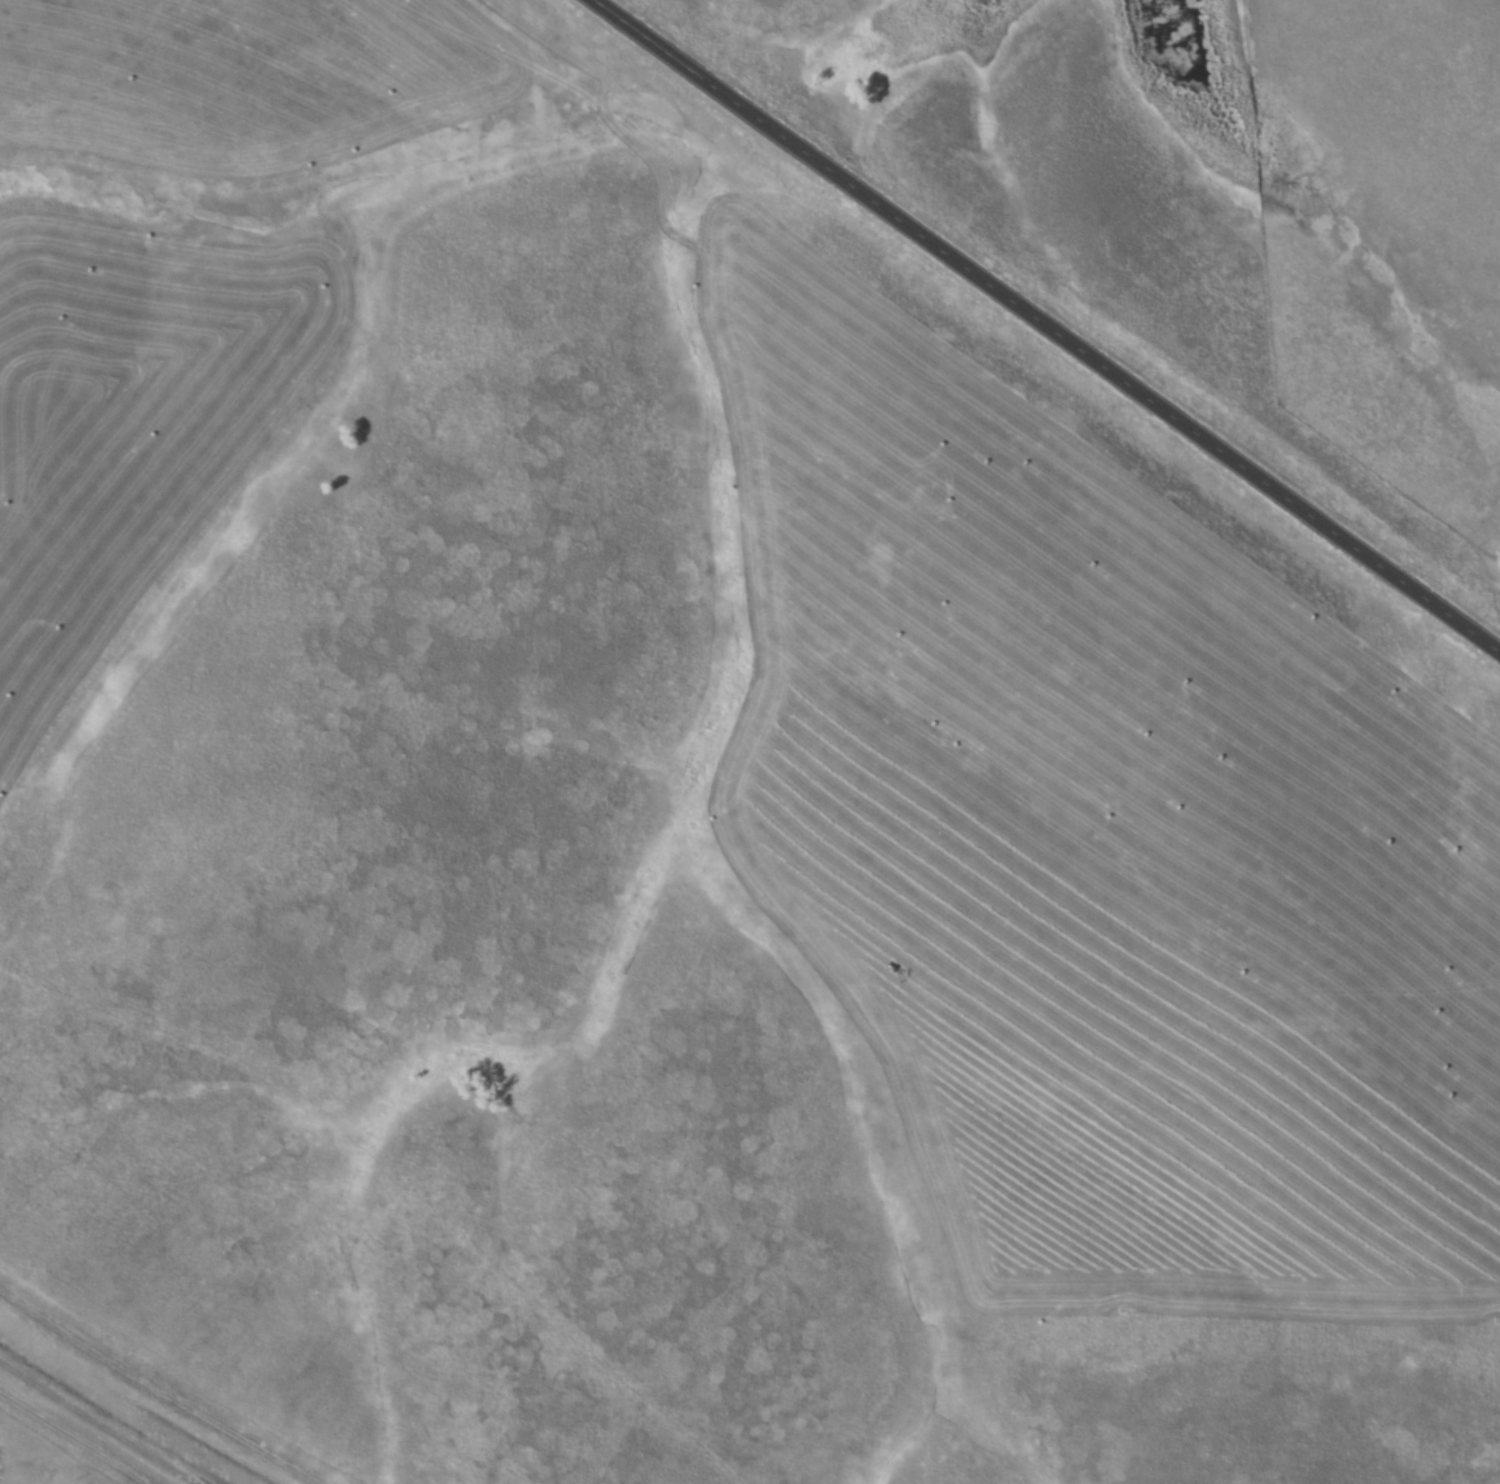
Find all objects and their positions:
road: (1044, 329)
road: (151, 1391)
railway: (95, 1418)

